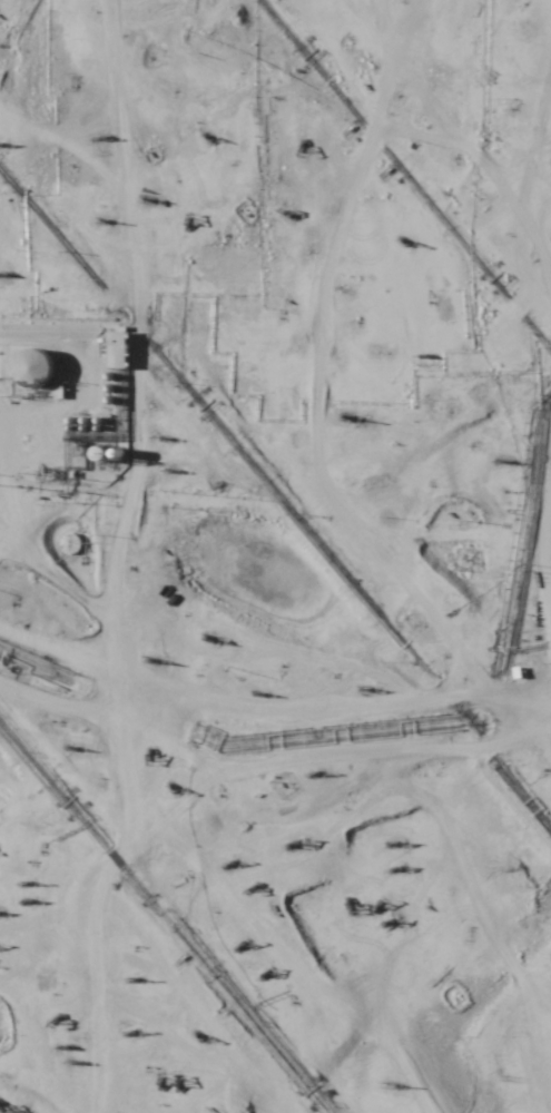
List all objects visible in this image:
road: (525, 23)
road: (275, 311)
building: (33, 365)
road: (259, 794)
road: (244, 855)

